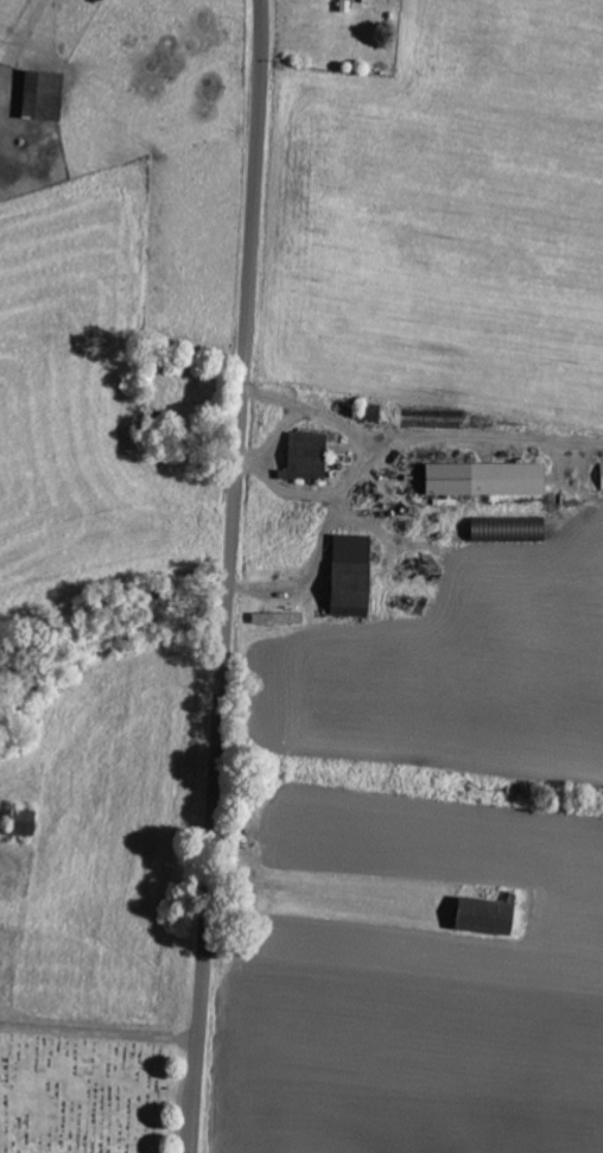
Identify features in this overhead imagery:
building: (47, 94)
building: (311, 456)
building: (356, 574)
road: (230, 576)
building: (493, 916)
park: (84, 1085)

